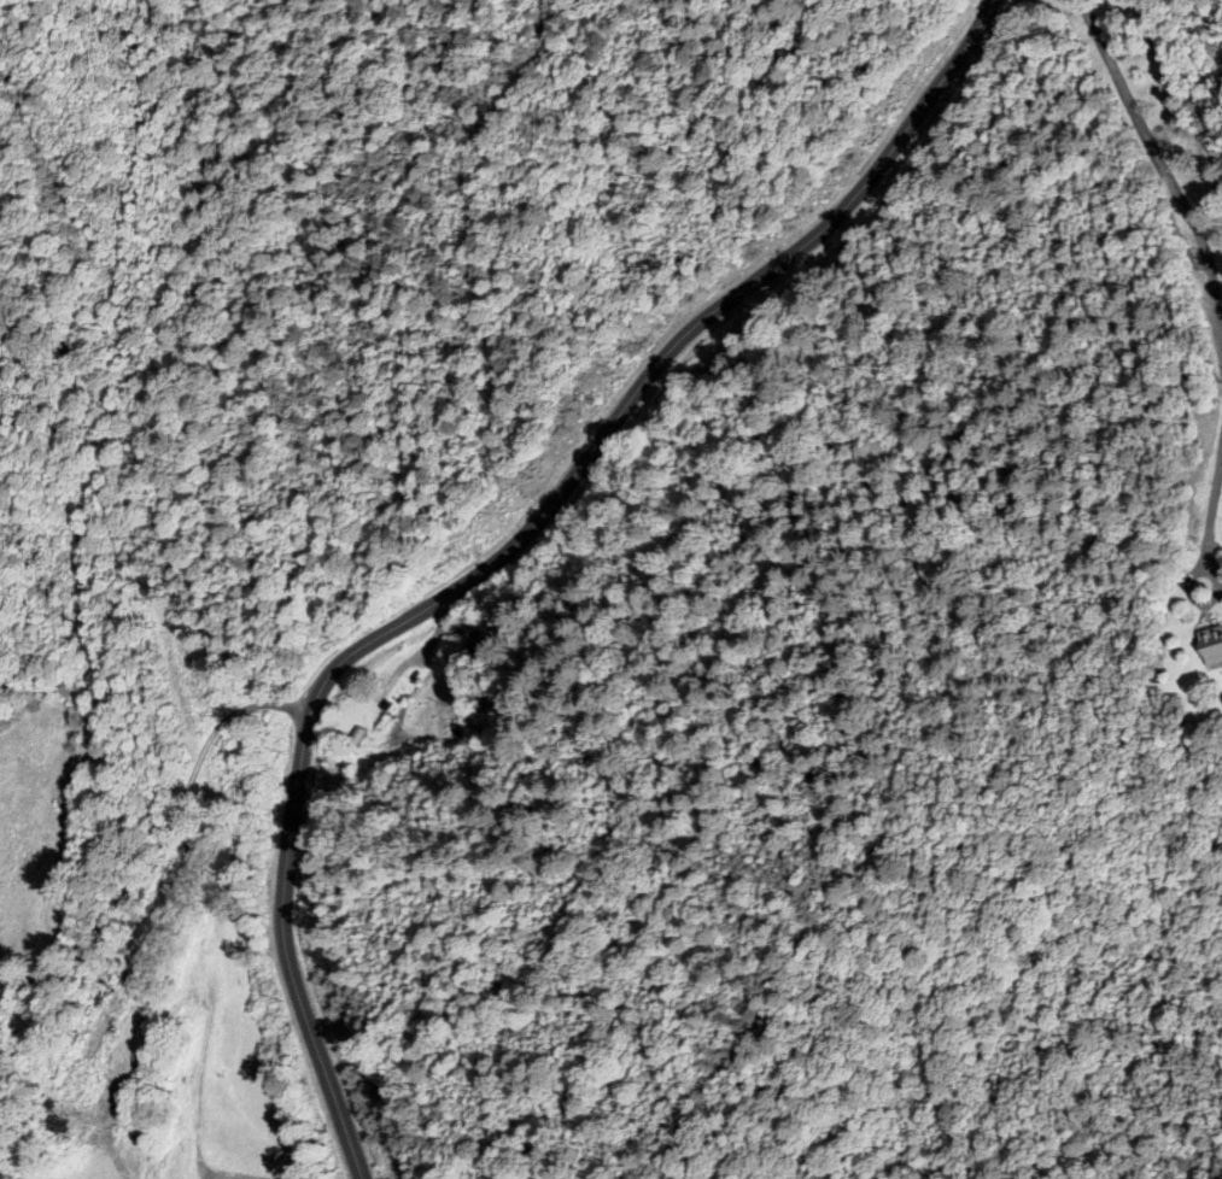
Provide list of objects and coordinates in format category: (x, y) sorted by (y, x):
road: (1160, 169)
road: (1211, 520)
road: (495, 536)
building: (1210, 645)
road: (154, 837)
building: (122, 982)

